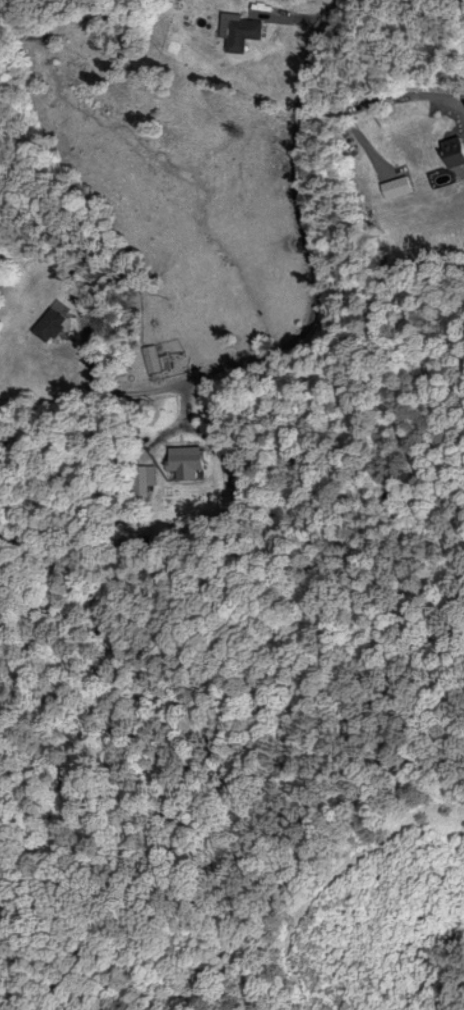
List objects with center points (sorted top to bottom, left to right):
road: (291, 16)
building: (244, 33)
road: (376, 101)
building: (453, 150)
road: (295, 219)
road: (117, 423)
building: (189, 456)

